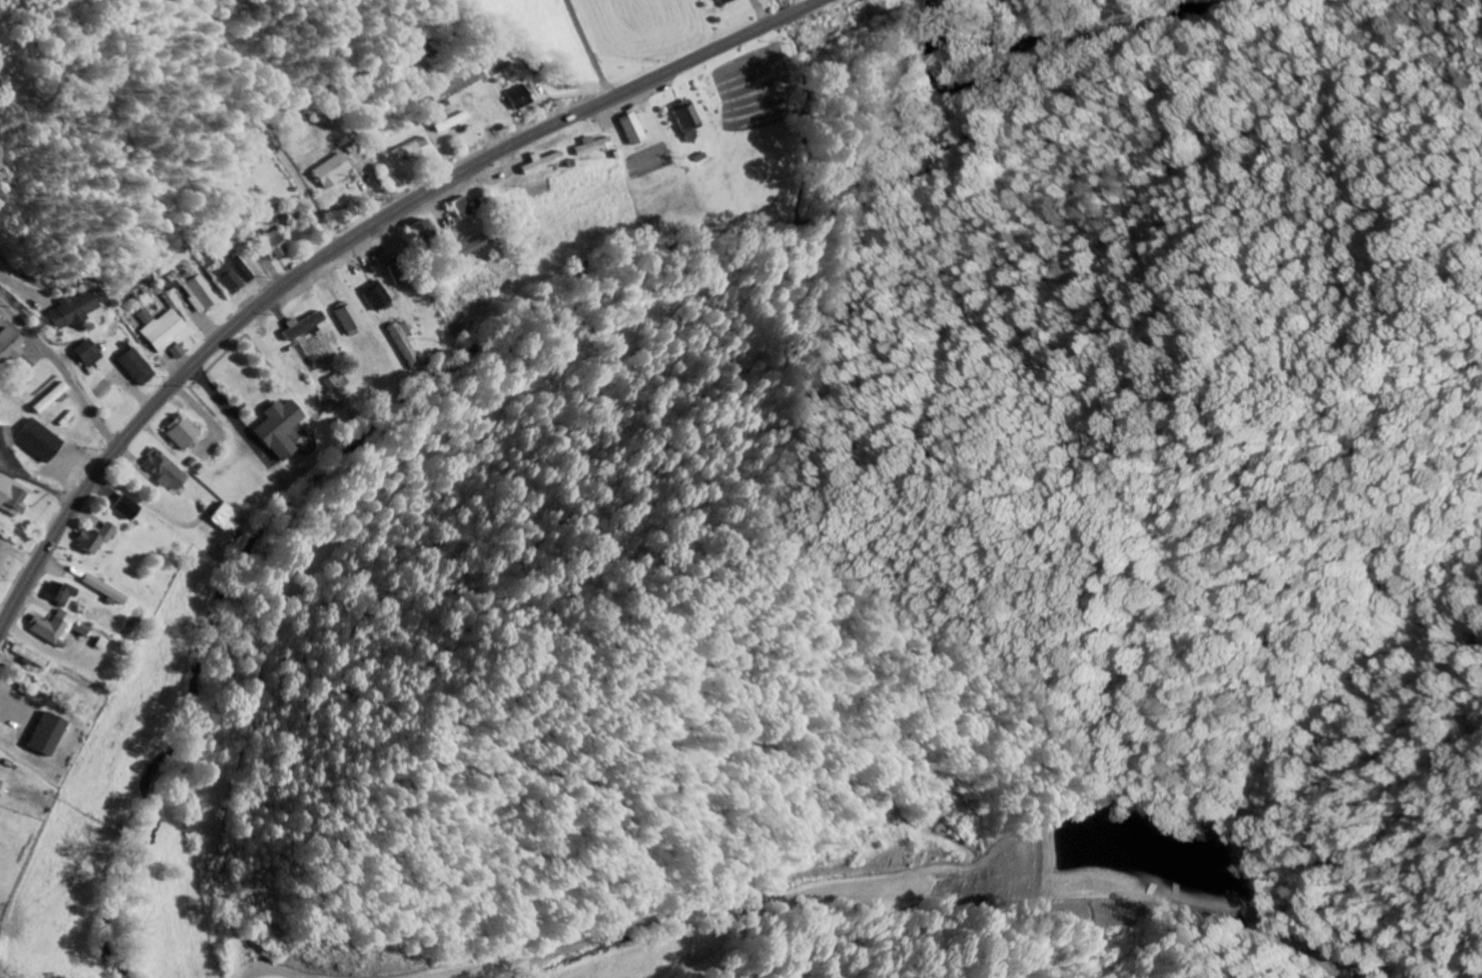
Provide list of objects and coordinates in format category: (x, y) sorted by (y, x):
building: (728, 1)
road: (810, 2)
building: (519, 97)
road: (283, 100)
building: (690, 119)
building: (634, 128)
building: (333, 171)
building: (463, 208)
building: (424, 230)
road: (348, 242)
building: (274, 245)
building: (467, 249)
building: (244, 269)
building: (231, 277)
building: (201, 293)
building: (378, 295)
building: (73, 310)
building: (350, 318)
building: (306, 326)
building: (166, 330)
building: (317, 344)
building: (9, 346)
road: (169, 346)
building: (89, 353)
building: (138, 367)
road: (64, 369)
building: (339, 382)
building: (52, 398)
building: (0, 400)
building: (280, 428)
building: (185, 433)
building: (7, 437)
building: (42, 440)
building: (167, 470)
building: (15, 495)
building: (128, 508)
building: (229, 520)
building: (97, 538)
building: (108, 591)
building: (63, 592)
building: (60, 628)
building: (32, 656)
building: (49, 735)
building: (4, 788)

